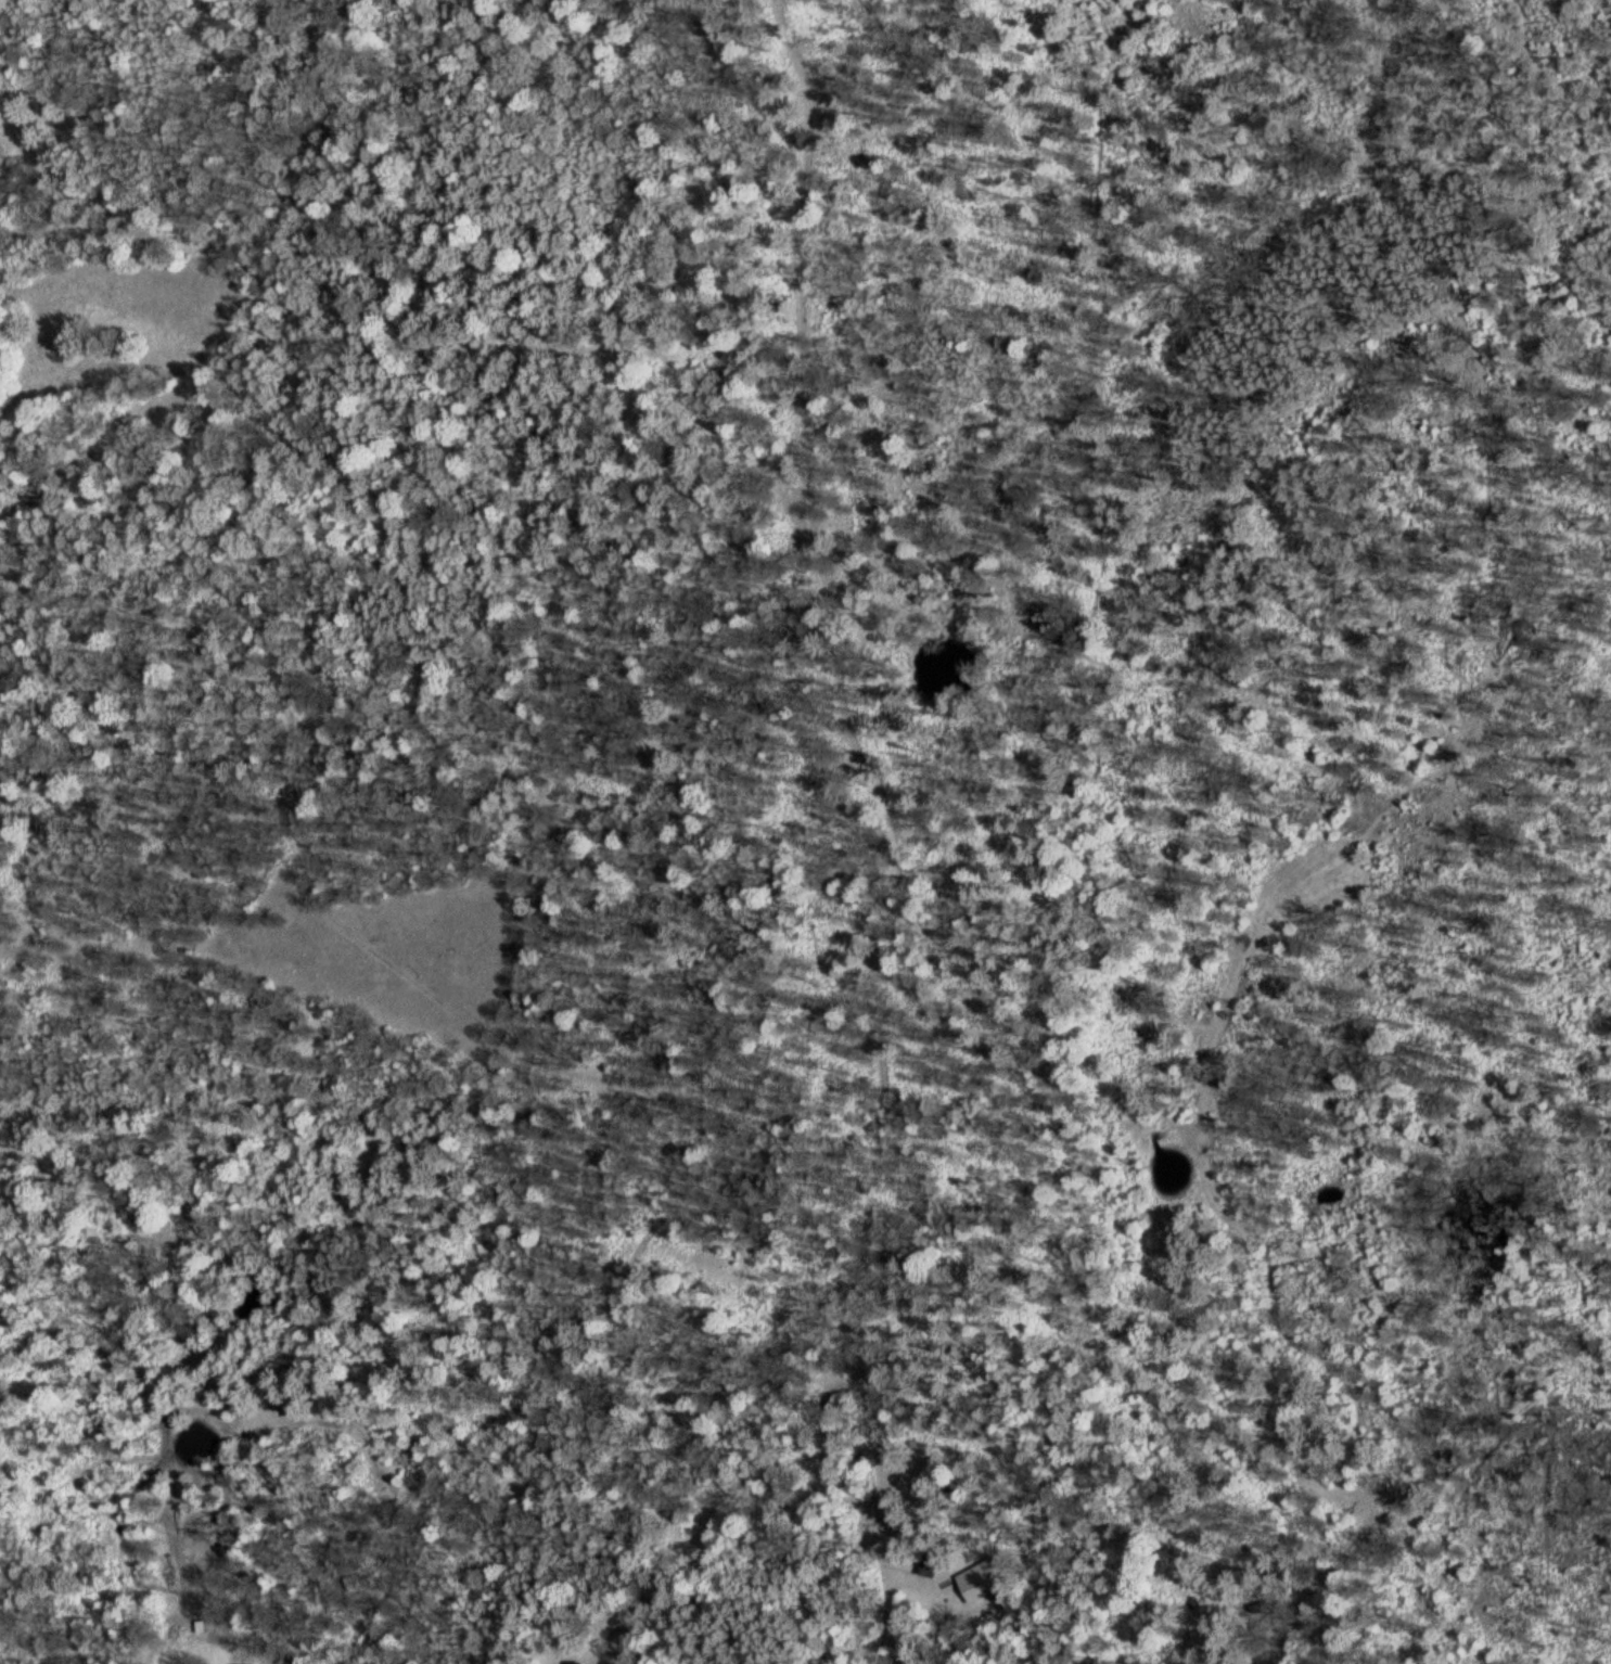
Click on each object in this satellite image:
building: (947, 1589)

